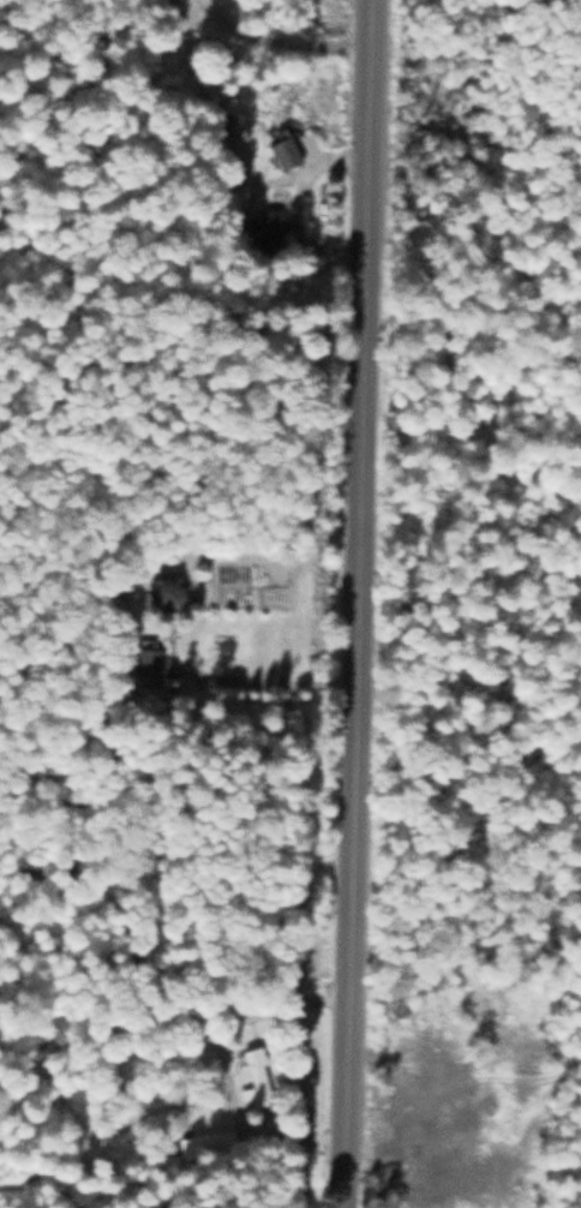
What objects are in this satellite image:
building: (288, 149)
building: (275, 227)
building: (167, 591)
road: (364, 604)
building: (148, 662)
building: (259, 1078)
building: (216, 1142)

